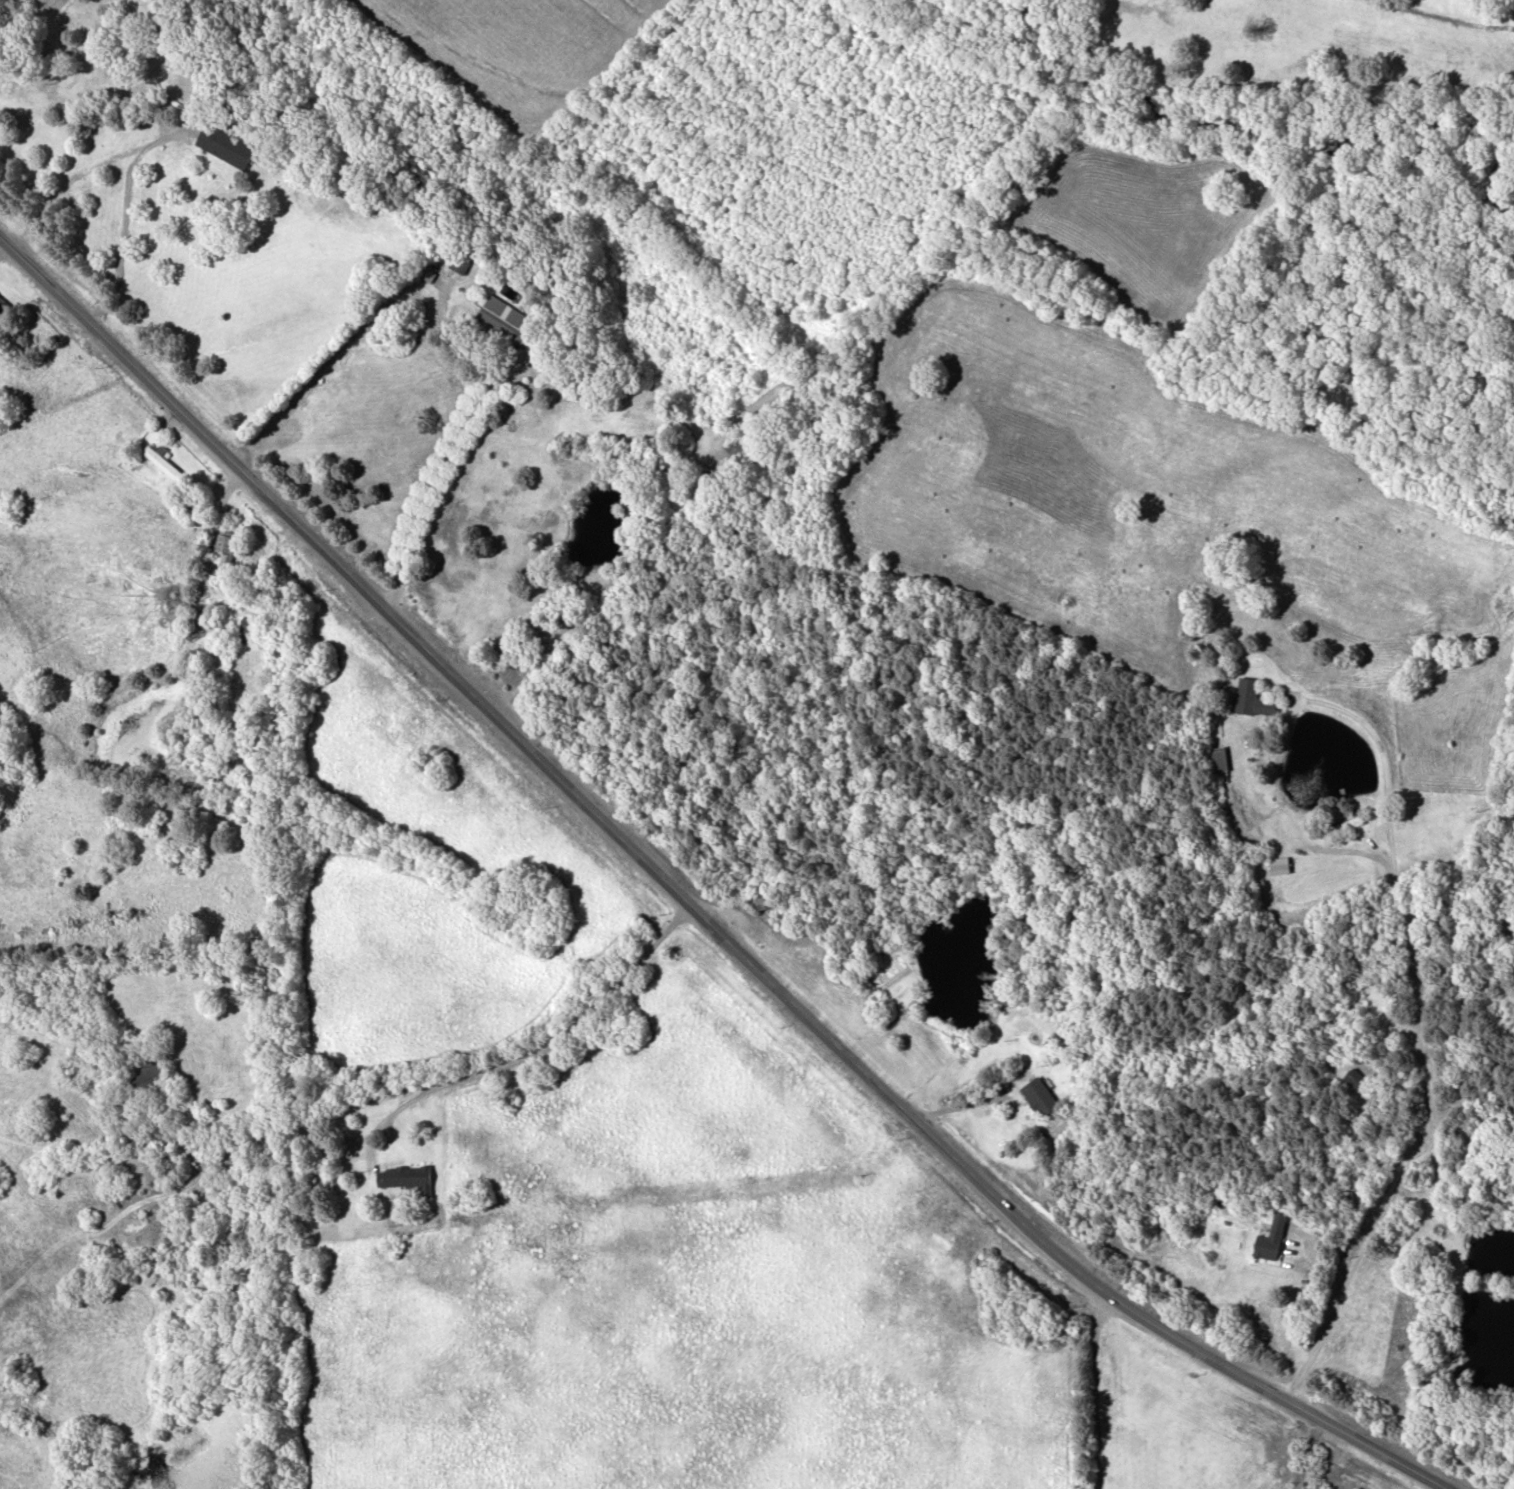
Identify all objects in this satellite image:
building: (225, 143)
road: (84, 170)
building: (460, 259)
building: (503, 318)
building: (740, 445)
building: (162, 462)
road: (434, 475)
building: (224, 546)
building: (246, 628)
building: (1253, 696)
building: (1218, 757)
building: (768, 898)
road: (691, 906)
road: (1417, 1032)
road: (540, 1048)
building: (147, 1074)
building: (1356, 1079)
building: (1039, 1095)
building: (406, 1175)
building: (1271, 1236)
building: (1125, 1438)

